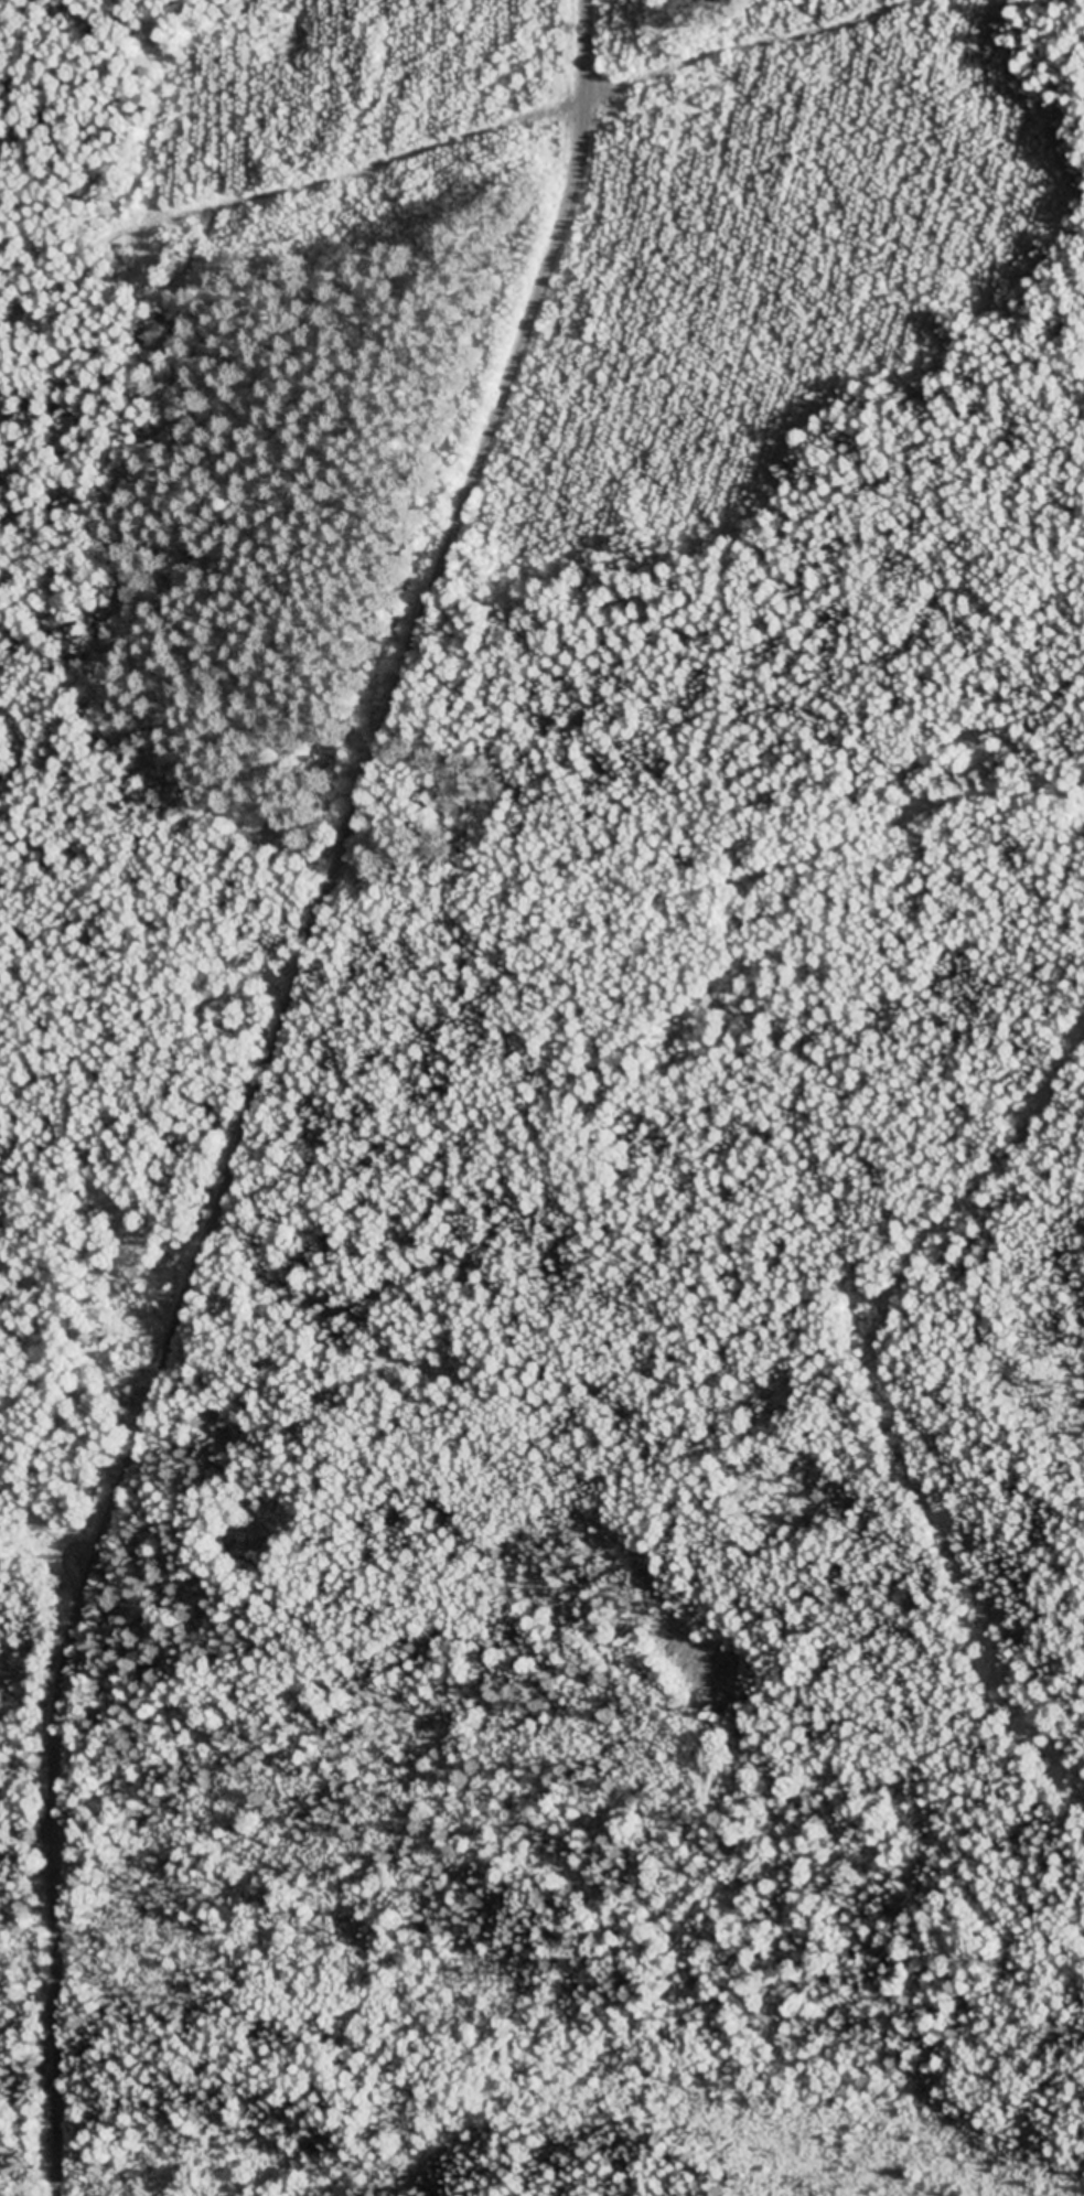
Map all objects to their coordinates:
road: (1053, 11)
road: (723, 872)
road: (262, 1088)
road: (877, 1345)

